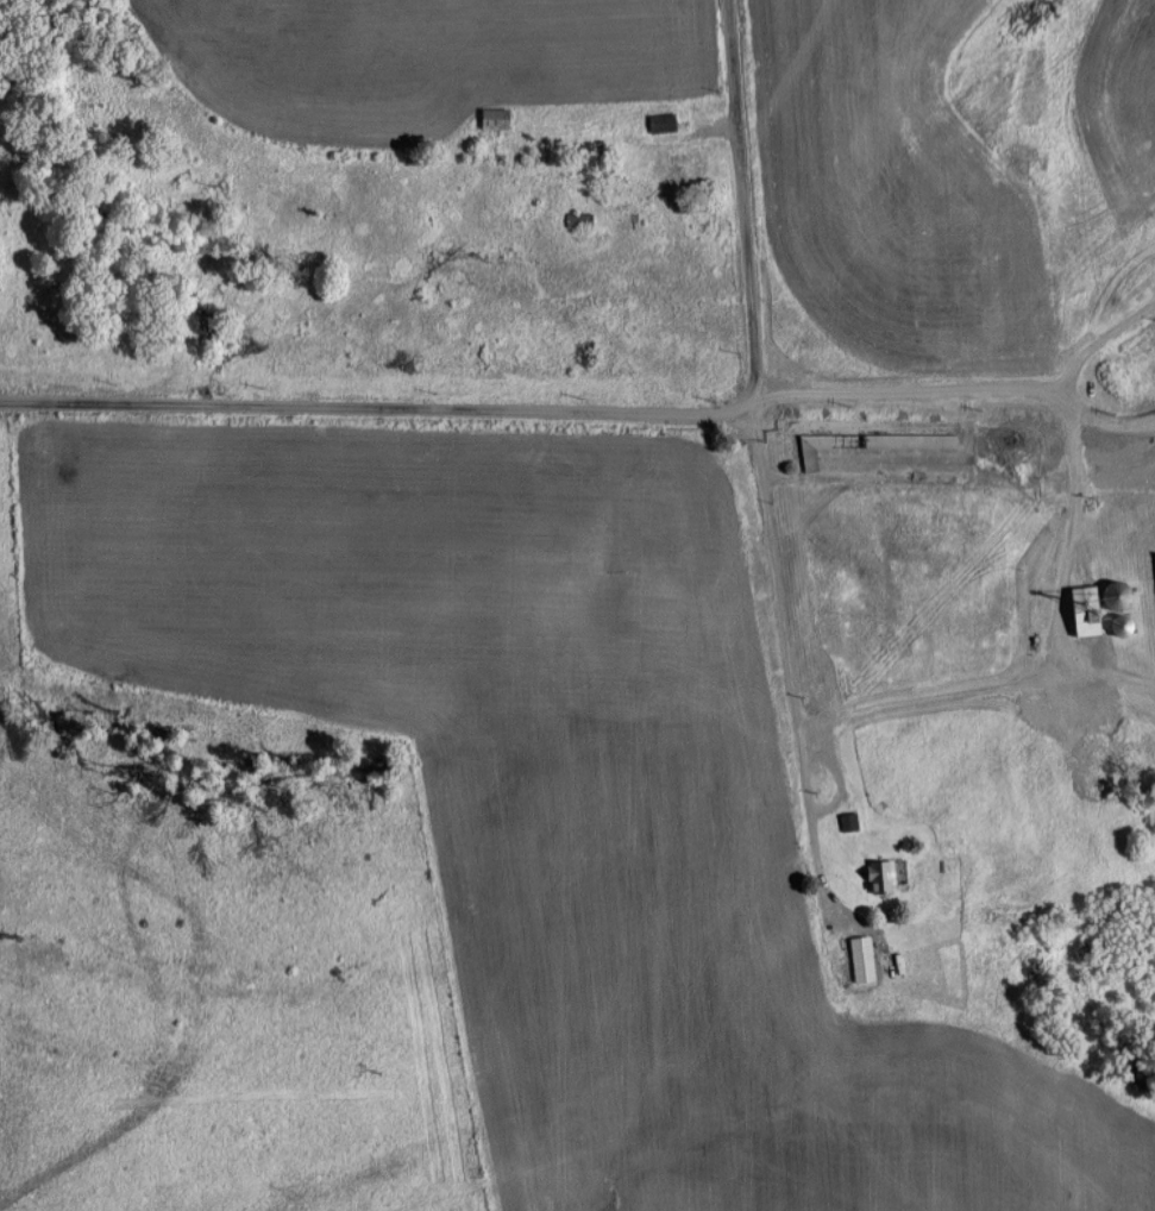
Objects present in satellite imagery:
building: (494, 117)
building: (661, 121)
road: (740, 195)
road: (379, 412)
building: (910, 440)
building: (812, 448)
building: (1086, 608)
road: (1037, 660)
building: (881, 874)
building: (862, 956)

